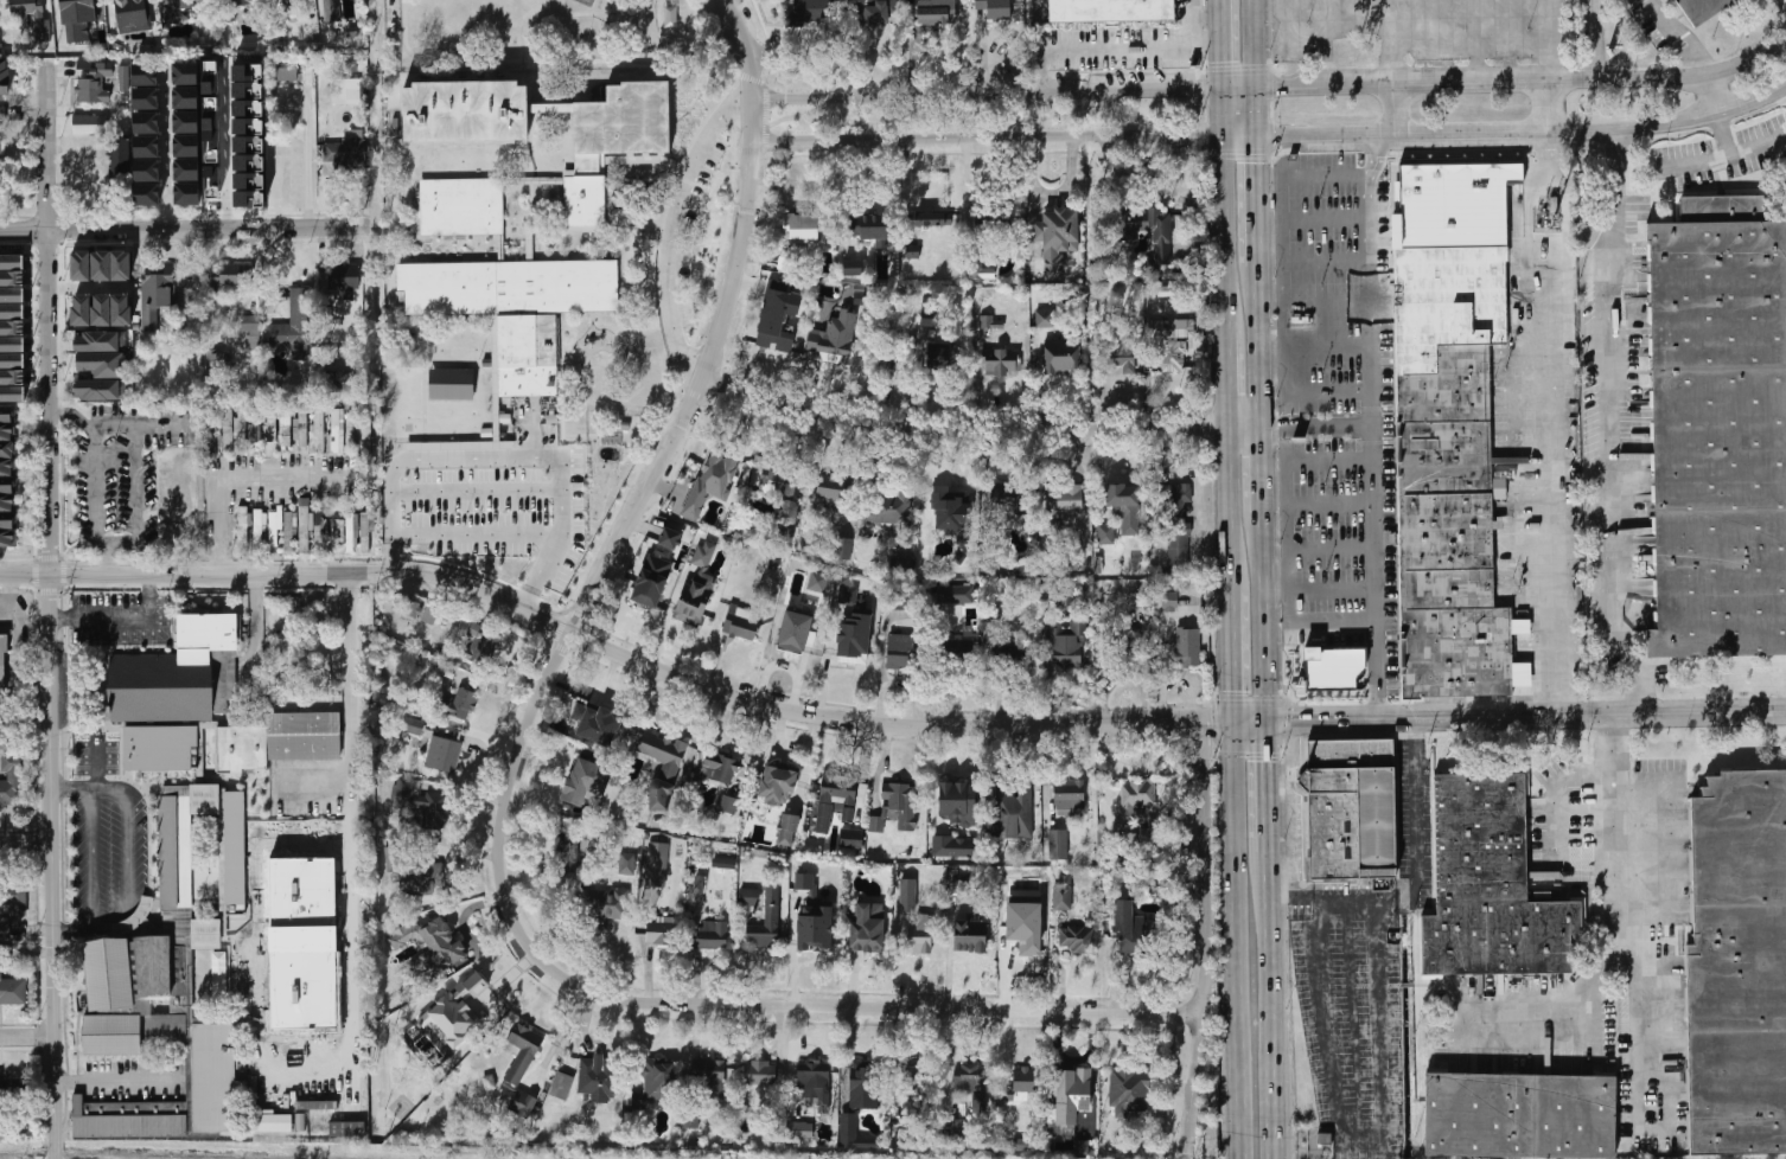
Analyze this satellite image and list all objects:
building: (184, 2)
building: (289, 5)
building: (77, 6)
building: (995, 9)
building: (1703, 9)
building: (331, 11)
building: (816, 11)
building: (879, 11)
building: (1111, 11)
building: (935, 12)
building: (130, 14)
building: (31, 15)
building: (176, 17)
road: (1038, 25)
road: (1680, 34)
road: (1548, 39)
road: (1391, 41)
road: (1224, 43)
road: (1131, 46)
road: (750, 50)
traffic signals: (1225, 55)
road: (1256, 66)
road: (1039, 71)
building: (292, 73)
building: (2, 77)
building: (123, 78)
road: (1524, 79)
building: (96, 84)
building: (146, 87)
traffic signals: (1280, 87)
road: (1242, 88)
building: (346, 90)
road: (991, 94)
road: (26, 97)
road: (1712, 97)
road: (1548, 105)
road: (1401, 108)
building: (2, 114)
building: (146, 122)
building: (89, 124)
building: (186, 133)
road: (1525, 133)
road: (1242, 135)
traffic signals: (1199, 136)
road: (1726, 136)
road: (993, 139)
road: (168, 146)
road: (225, 148)
building: (356, 153)
building: (119, 155)
building: (0, 156)
road: (1720, 156)
traffic signals: (1258, 158)
building: (147, 159)
building: (212, 165)
road: (305, 168)
building: (248, 180)
building: (147, 194)
road: (1258, 200)
road: (1227, 209)
building: (932, 218)
building: (993, 220)
building: (867, 222)
road: (681, 228)
building: (800, 228)
road: (183, 229)
road: (1278, 237)
building: (1160, 238)
building: (1055, 241)
building: (497, 248)
building: (976, 264)
building: (101, 265)
building: (853, 268)
building: (230, 275)
building: (345, 278)
road: (1371, 278)
building: (155, 292)
building: (793, 299)
building: (101, 310)
building: (930, 310)
building: (1045, 319)
building: (296, 325)
building: (253, 326)
building: (12, 328)
building: (774, 337)
building: (829, 346)
building: (1171, 346)
road: (1261, 346)
building: (101, 353)
building: (1120, 356)
building: (944, 357)
building: (1061, 358)
building: (1000, 361)
road: (1230, 378)
road: (706, 379)
building: (336, 380)
building: (451, 384)
building: (102, 390)
road: (75, 412)
road: (1552, 423)
building: (289, 424)
building: (1450, 424)
road: (113, 425)
road: (1609, 427)
building: (319, 428)
building: (240, 429)
road: (981, 429)
road: (1283, 429)
building: (1720, 429)
building: (336, 430)
building: (366, 433)
building: (211, 434)
building: (7, 441)
road: (499, 459)
road: (194, 468)
road: (1263, 470)
building: (758, 475)
road: (243, 479)
road: (135, 485)
building: (695, 485)
road: (95, 488)
road: (477, 488)
building: (833, 491)
building: (171, 493)
building: (946, 500)
building: (1007, 500)
building: (1064, 500)
building: (1125, 505)
building: (886, 507)
road: (1232, 507)
building: (7, 516)
road: (1374, 517)
building: (1178, 523)
building: (308, 526)
building: (266, 527)
road: (1284, 529)
building: (243, 530)
building: (1051, 530)
building: (289, 531)
building: (353, 531)
road: (474, 533)
building: (1106, 536)
building: (669, 538)
road: (119, 545)
building: (843, 549)
building: (702, 557)
road: (108, 561)
building: (901, 562)
road: (293, 570)
building: (650, 581)
building: (817, 582)
road: (1320, 589)
building: (956, 593)
building: (851, 598)
building: (1066, 598)
building: (901, 601)
building: (1134, 601)
building: (1168, 601)
building: (690, 603)
road: (53, 608)
building: (408, 608)
parking lot: (123, 614)
building: (993, 614)
building: (430, 615)
road: (125, 617)
road: (1264, 617)
building: (741, 622)
building: (804, 636)
building: (1127, 642)
building: (1066, 643)
building: (481, 645)
building: (1188, 647)
building: (850, 652)
building: (898, 652)
building: (963, 654)
road: (1236, 655)
building: (2, 666)
road: (944, 668)
building: (1337, 670)
building: (176, 674)
traffic signals: (1237, 686)
road: (349, 693)
building: (463, 705)
road: (1570, 715)
building: (593, 719)
road: (856, 719)
road: (1295, 721)
traffic signals: (1295, 722)
parking lot: (1, 723)
road: (1195, 724)
traffic signals: (1211, 724)
building: (413, 725)
building: (302, 736)
road: (693, 737)
building: (159, 748)
building: (242, 748)
building: (444, 753)
parking lot: (101, 754)
traffic signals: (1267, 758)
road: (96, 762)
building: (670, 769)
building: (720, 769)
building: (778, 776)
building: (11, 780)
building: (585, 785)
road: (1267, 786)
building: (838, 790)
building: (956, 794)
building: (1070, 795)
building: (1138, 795)
building: (900, 796)
building: (417, 802)
building: (727, 803)
road: (1550, 806)
building: (1013, 809)
building: (1353, 809)
road: (127, 817)
building: (789, 824)
building: (875, 824)
building: (850, 838)
road: (1237, 840)
parking lot: (1656, 840)
building: (1058, 844)
road: (27, 846)
building: (952, 846)
building: (235, 847)
parking lot: (110, 849)
building: (568, 852)
road: (93, 858)
building: (723, 863)
building: (656, 864)
building: (407, 865)
building: (1142, 878)
building: (803, 881)
building: (961, 882)
building: (1493, 885)
building: (907, 894)
building: (751, 896)
building: (1061, 896)
building: (13, 899)
road: (1341, 902)
road: (1268, 903)
building: (604, 907)
building: (136, 913)
road: (103, 918)
road: (126, 922)
building: (766, 922)
road: (1613, 923)
building: (867, 928)
building: (5, 929)
road: (85, 929)
building: (1128, 929)
road: (464, 931)
building: (659, 931)
building: (816, 935)
building: (920, 935)
building: (709, 936)
building: (970, 936)
building: (1077, 940)
road: (1208, 941)
building: (427, 946)
building: (162, 962)
building: (1737, 967)
building: (110, 968)
building: (241, 986)
building: (135, 988)
building: (12, 990)
road: (693, 1003)
parking lot: (1356, 1003)
road: (1554, 1006)
building: (463, 1010)
building: (166, 1024)
road: (326, 1029)
building: (115, 1030)
road: (26, 1031)
building: (521, 1038)
road: (1239, 1058)
road: (1270, 1058)
road: (1379, 1070)
building: (217, 1071)
building: (763, 1074)
road: (114, 1075)
building: (706, 1076)
building: (814, 1076)
building: (599, 1077)
building: (913, 1080)
building: (657, 1082)
building: (1023, 1082)
building: (561, 1086)
building: (1, 1087)
building: (863, 1088)
building: (972, 1088)
building: (1129, 1090)
building: (1071, 1095)
building: (522, 1102)
building: (1520, 1116)
building: (127, 1119)
building: (269, 1122)
building: (346, 1128)
building: (799, 1131)
building: (853, 1134)

